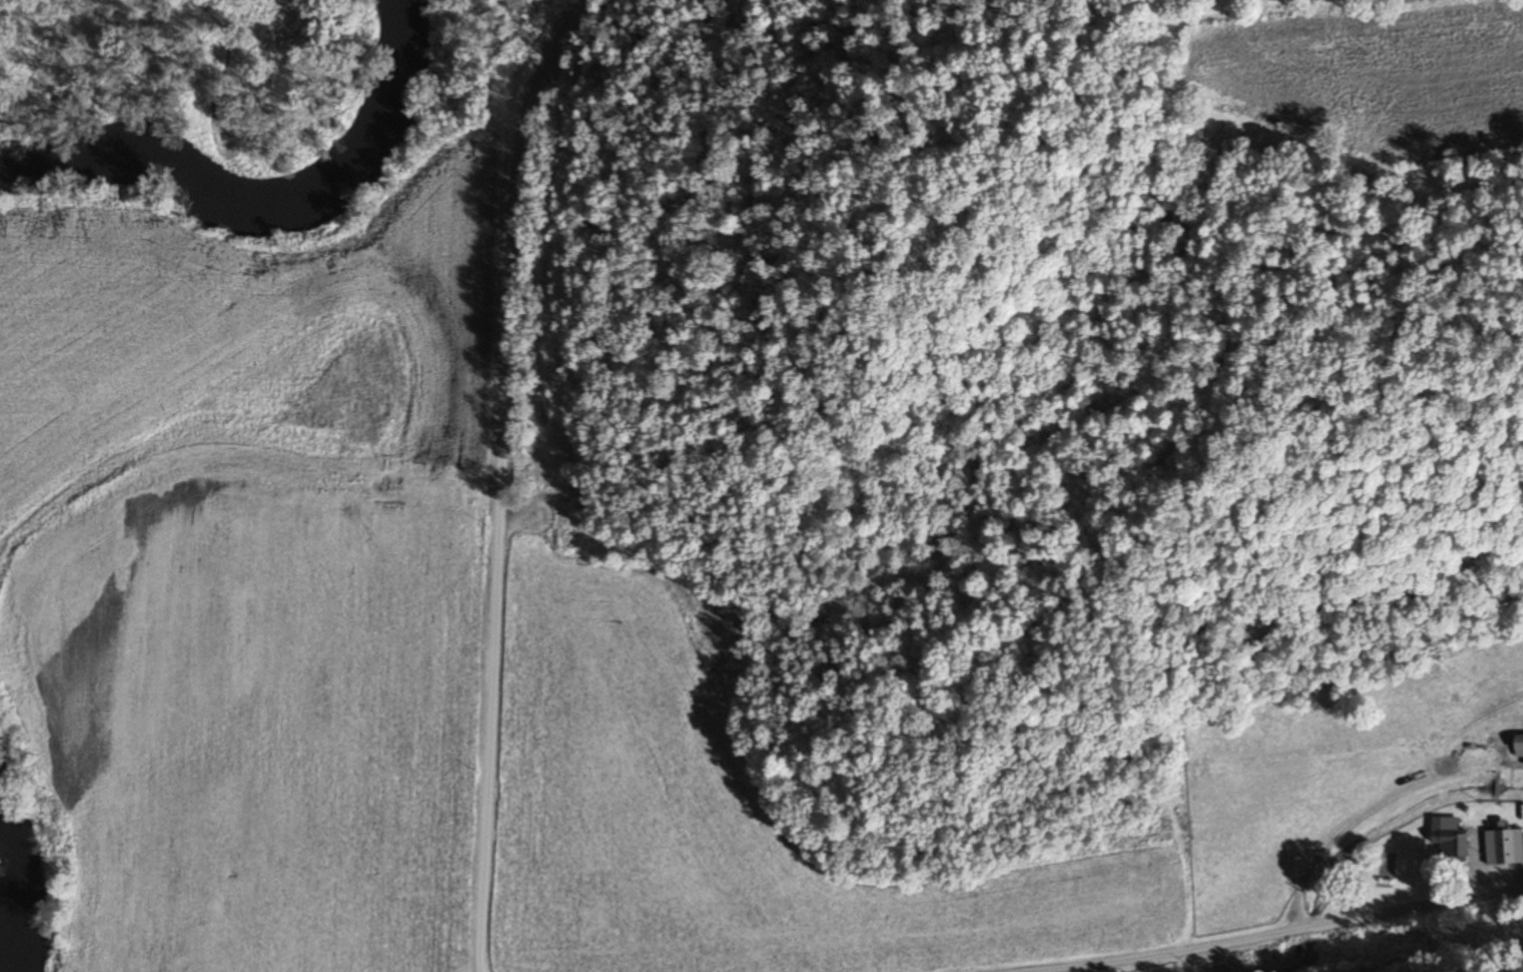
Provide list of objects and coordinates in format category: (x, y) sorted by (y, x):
road: (531, 121)
river: (262, 194)
road: (548, 249)
building: (534, 448)
building: (537, 529)
road: (491, 610)
building: (1518, 740)
building: (1449, 842)
building: (1504, 846)
river: (13, 901)
road: (1266, 935)

